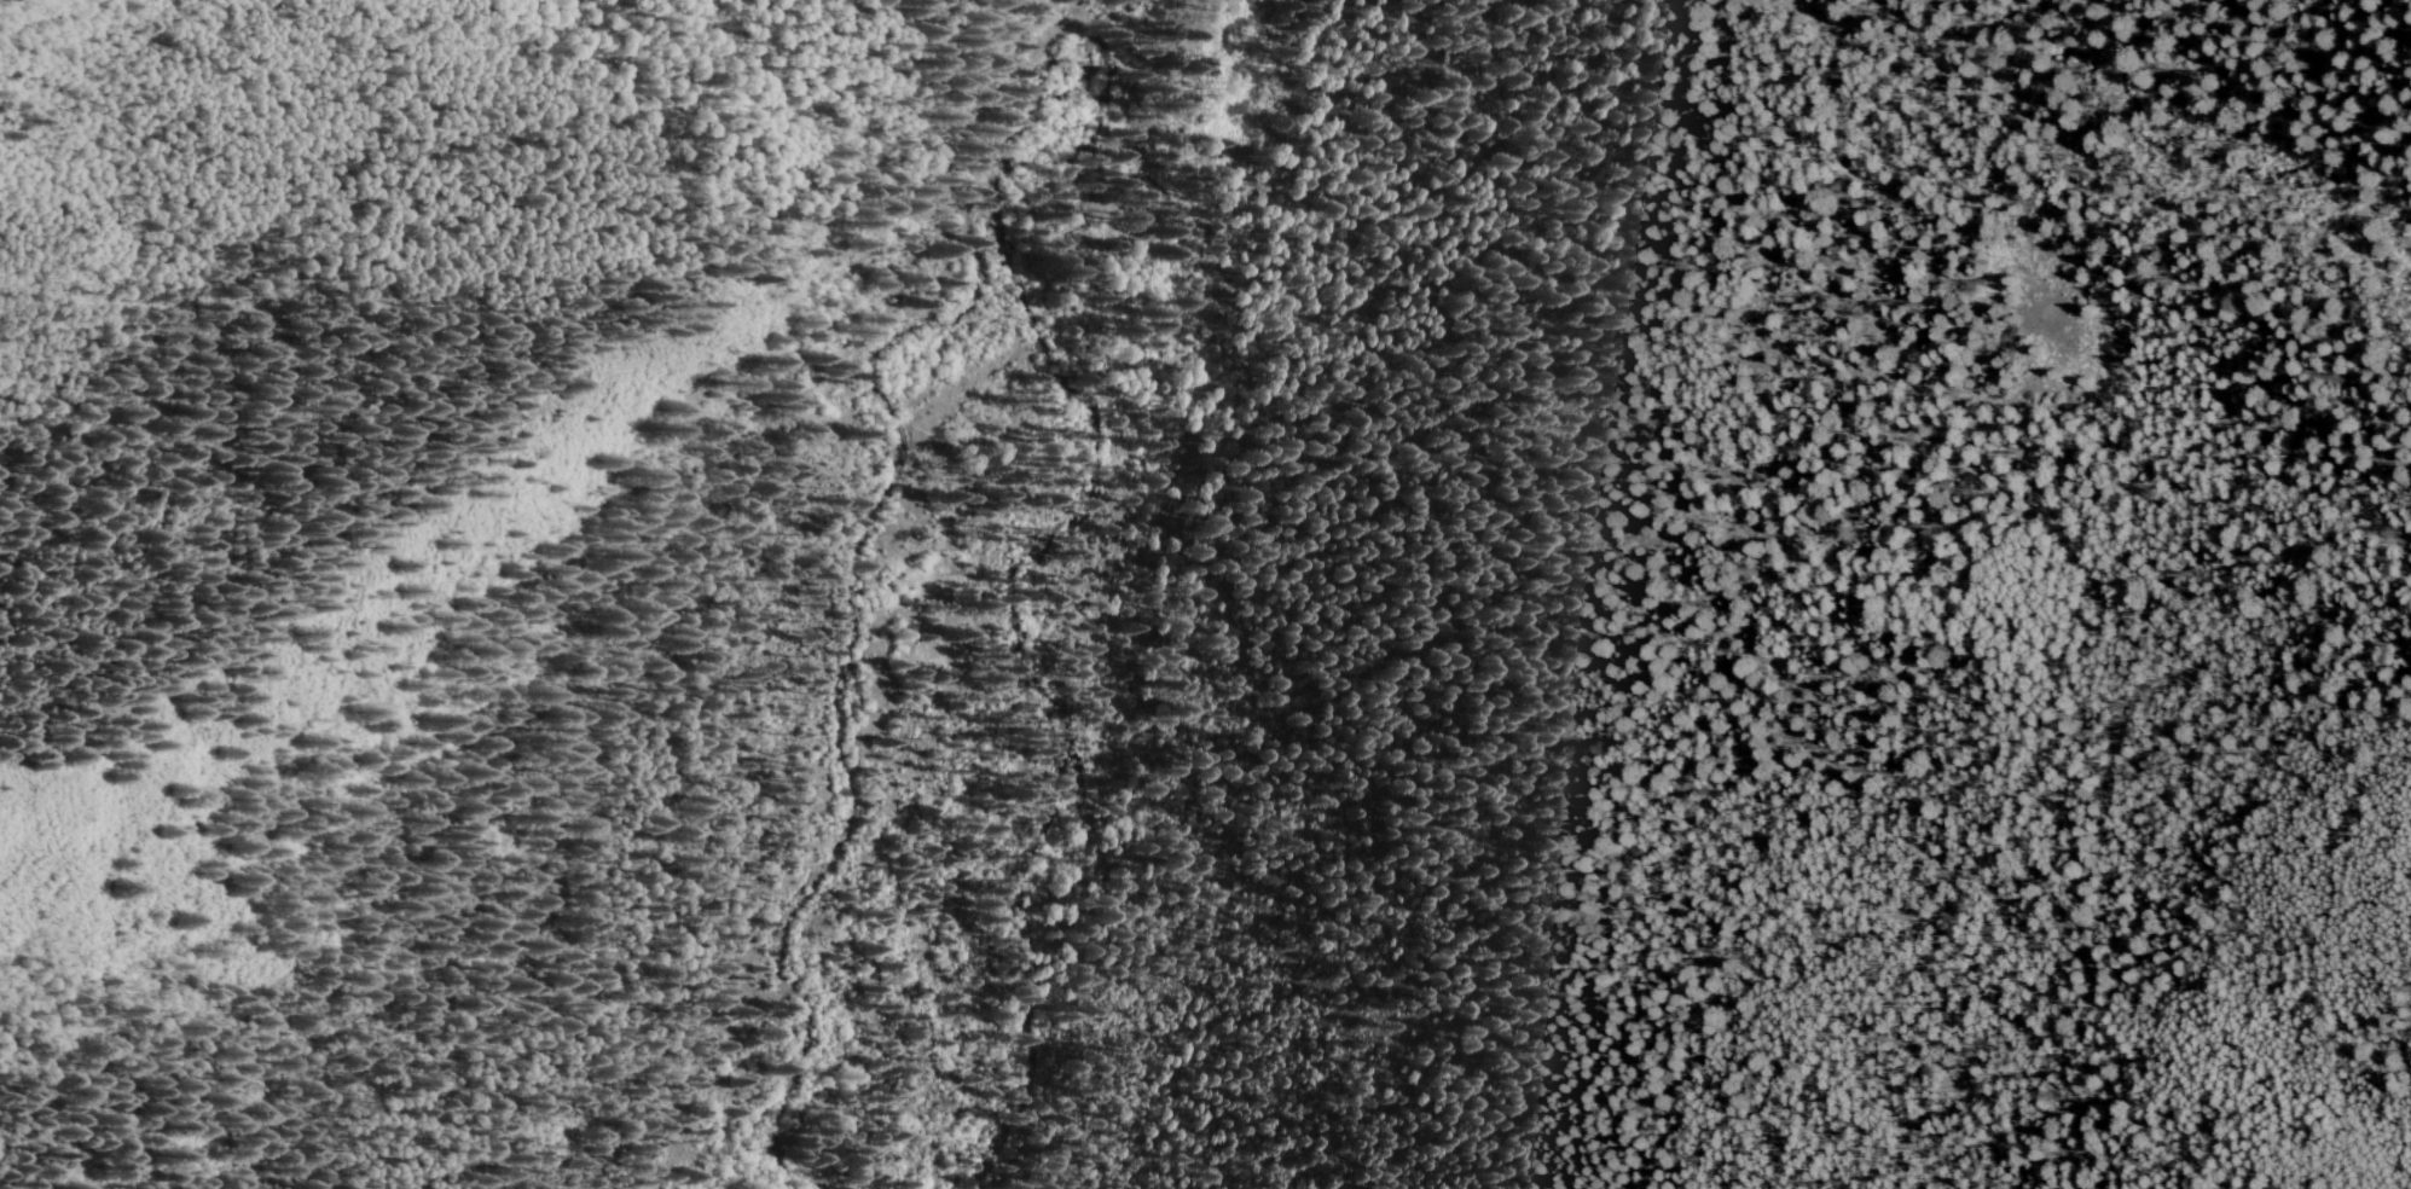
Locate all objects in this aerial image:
road: (2251, 23)
road: (2354, 40)
road: (921, 274)
road: (683, 559)
river: (905, 563)
road: (157, 1104)

